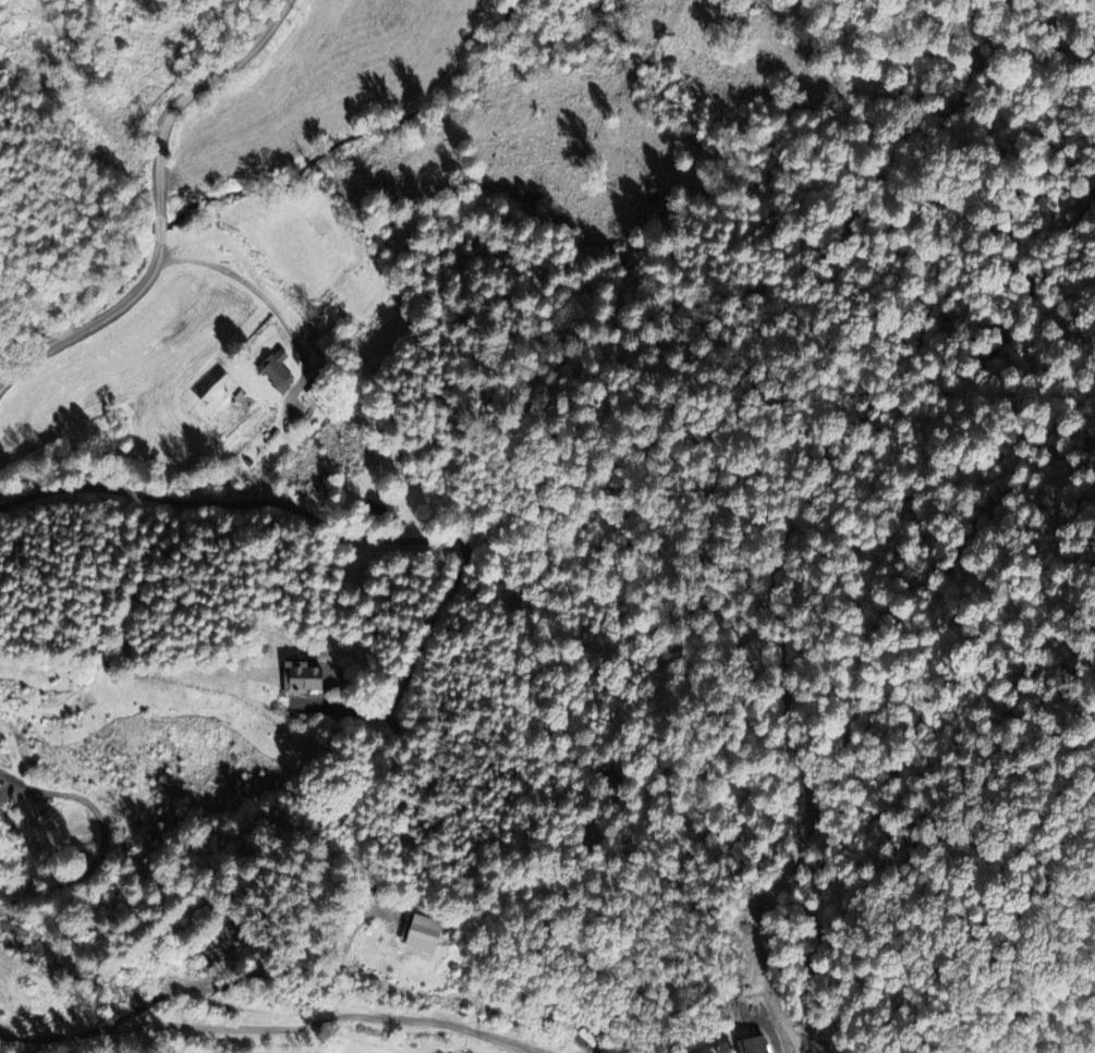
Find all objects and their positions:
road: (162, 206)
building: (275, 368)
building: (299, 676)
road: (105, 836)
building: (422, 932)
building: (227, 938)
building: (207, 957)
road: (264, 1028)
building: (751, 1044)

